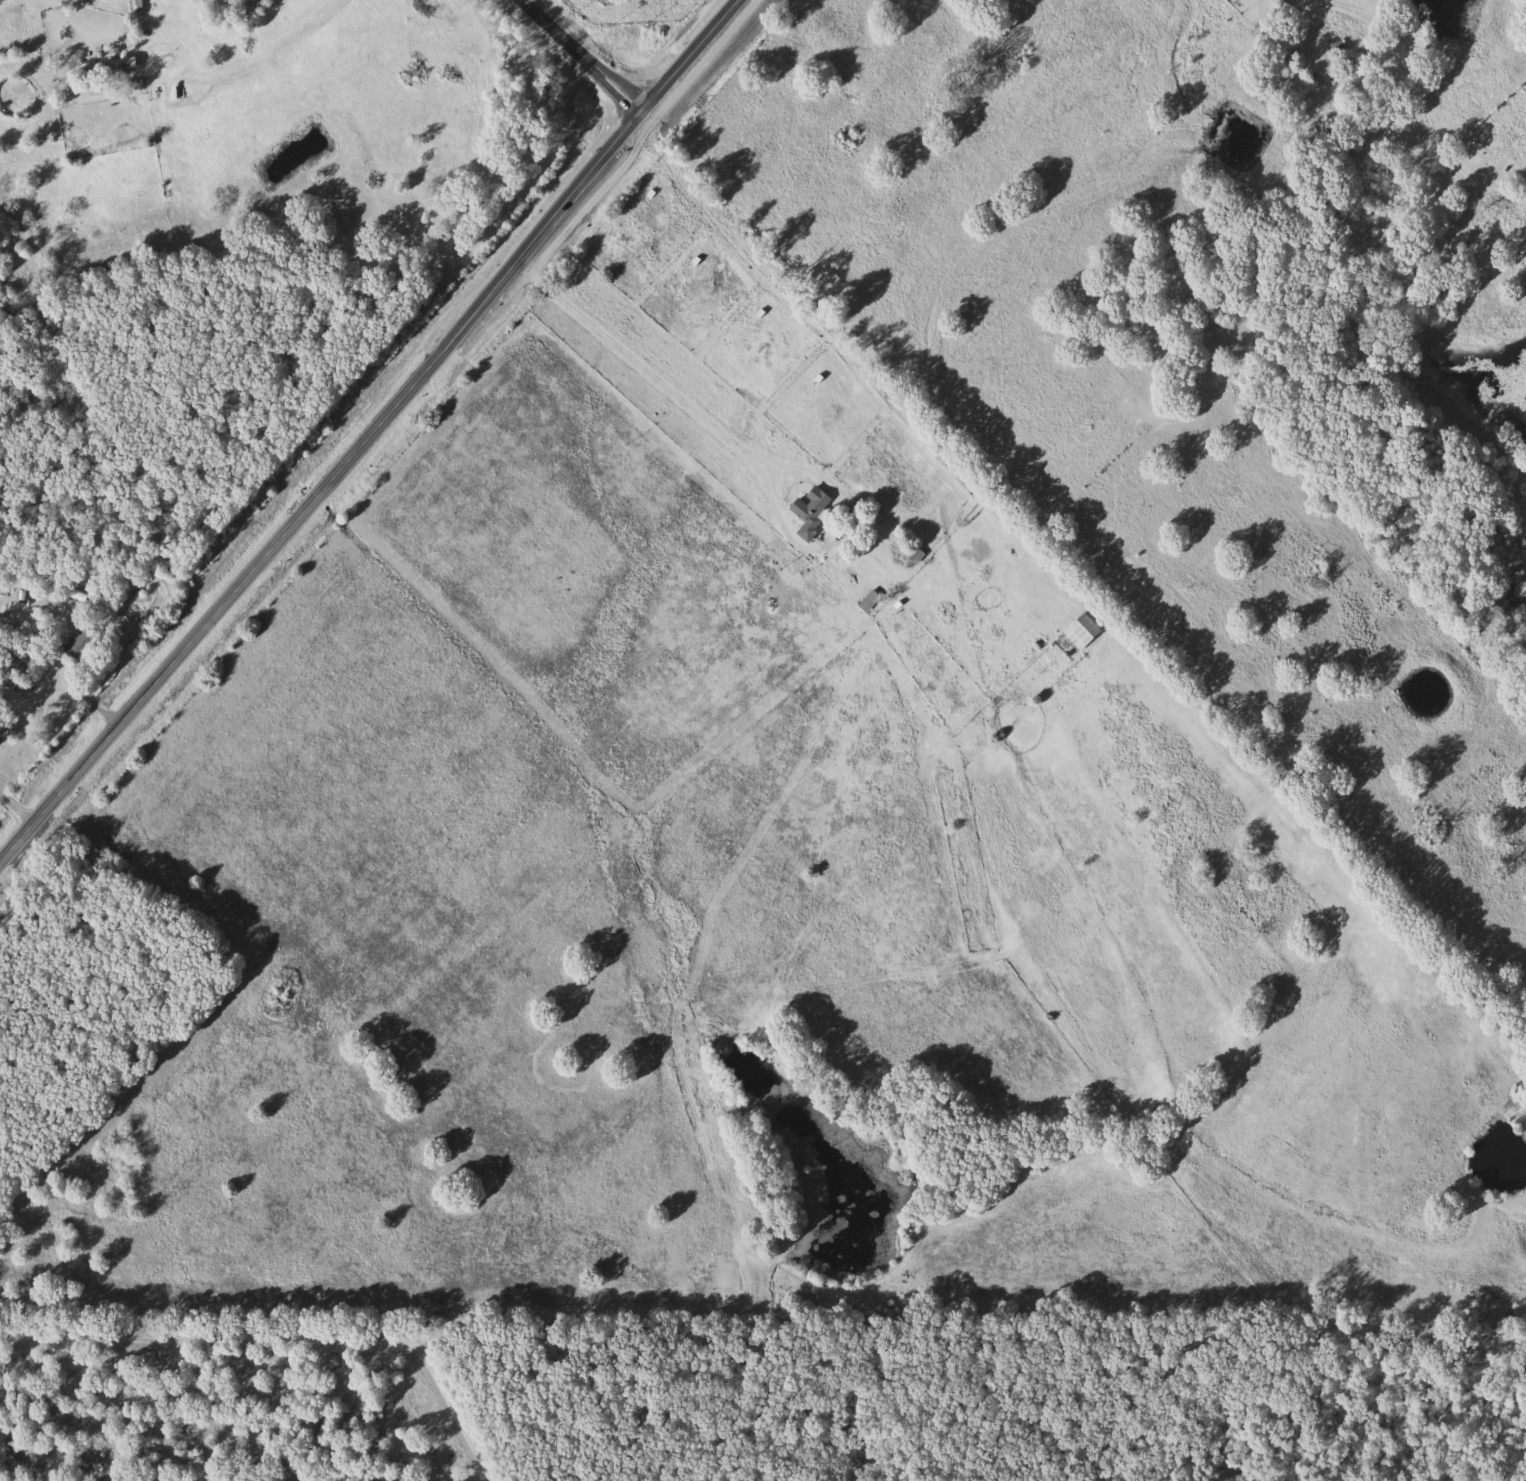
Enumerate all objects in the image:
road: (1398, 42)
road: (231, 55)
road: (588, 55)
building: (122, 63)
road: (314, 85)
road: (166, 142)
road: (364, 423)
road: (746, 460)
building: (809, 516)
building: (870, 600)
building: (1084, 630)
building: (84, 641)
building: (11, 729)

